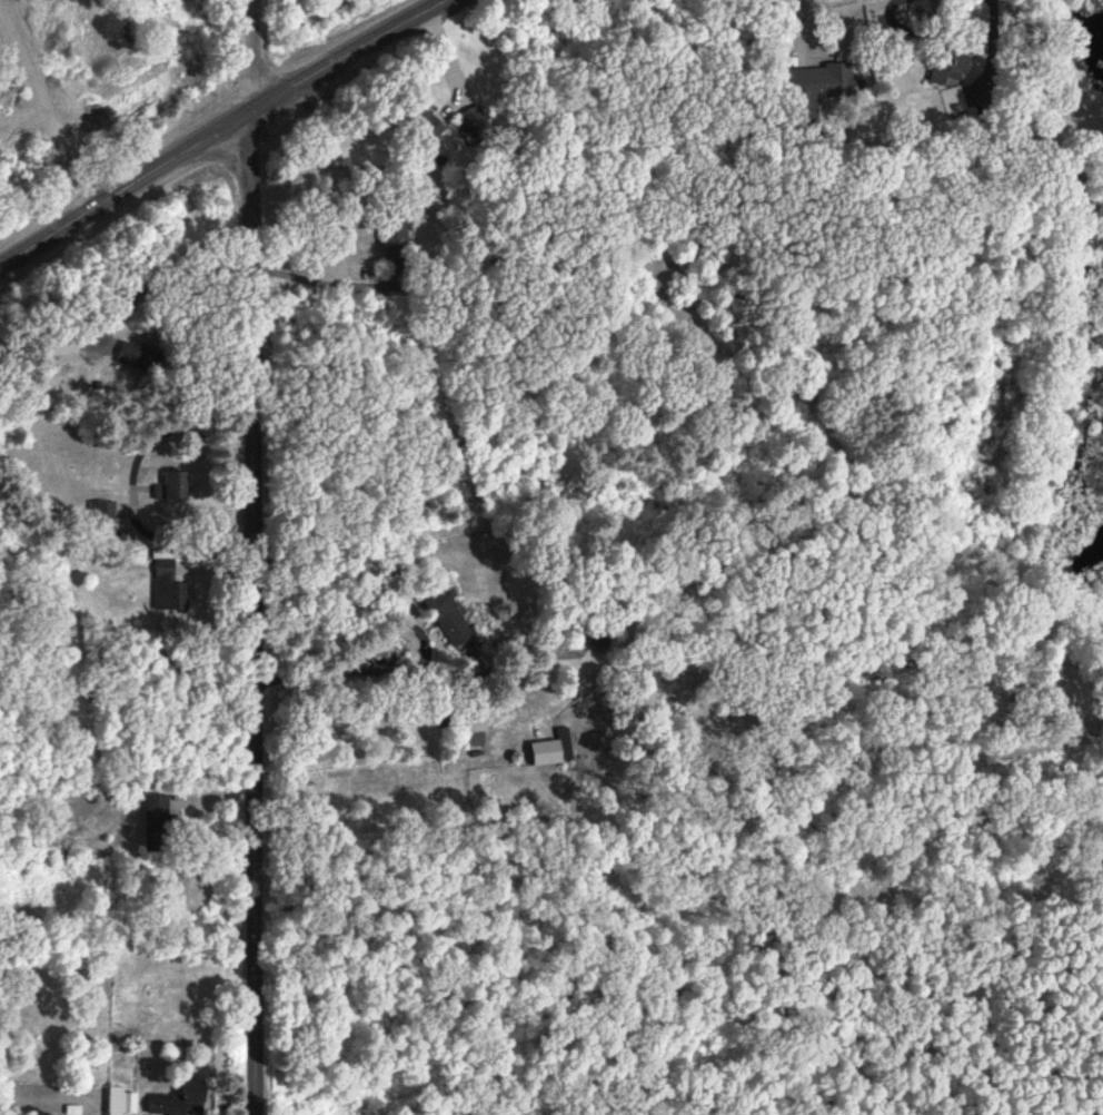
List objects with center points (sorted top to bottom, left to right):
road: (803, 13)
road: (921, 23)
road: (249, 56)
building: (954, 77)
building: (822, 88)
building: (428, 126)
building: (476, 126)
road: (219, 130)
building: (398, 241)
road: (161, 276)
road: (311, 279)
building: (138, 357)
building: (175, 490)
building: (168, 584)
road: (251, 613)
building: (453, 619)
building: (597, 638)
building: (470, 733)
building: (555, 751)
building: (159, 825)
building: (56, 852)
building: (183, 1102)

